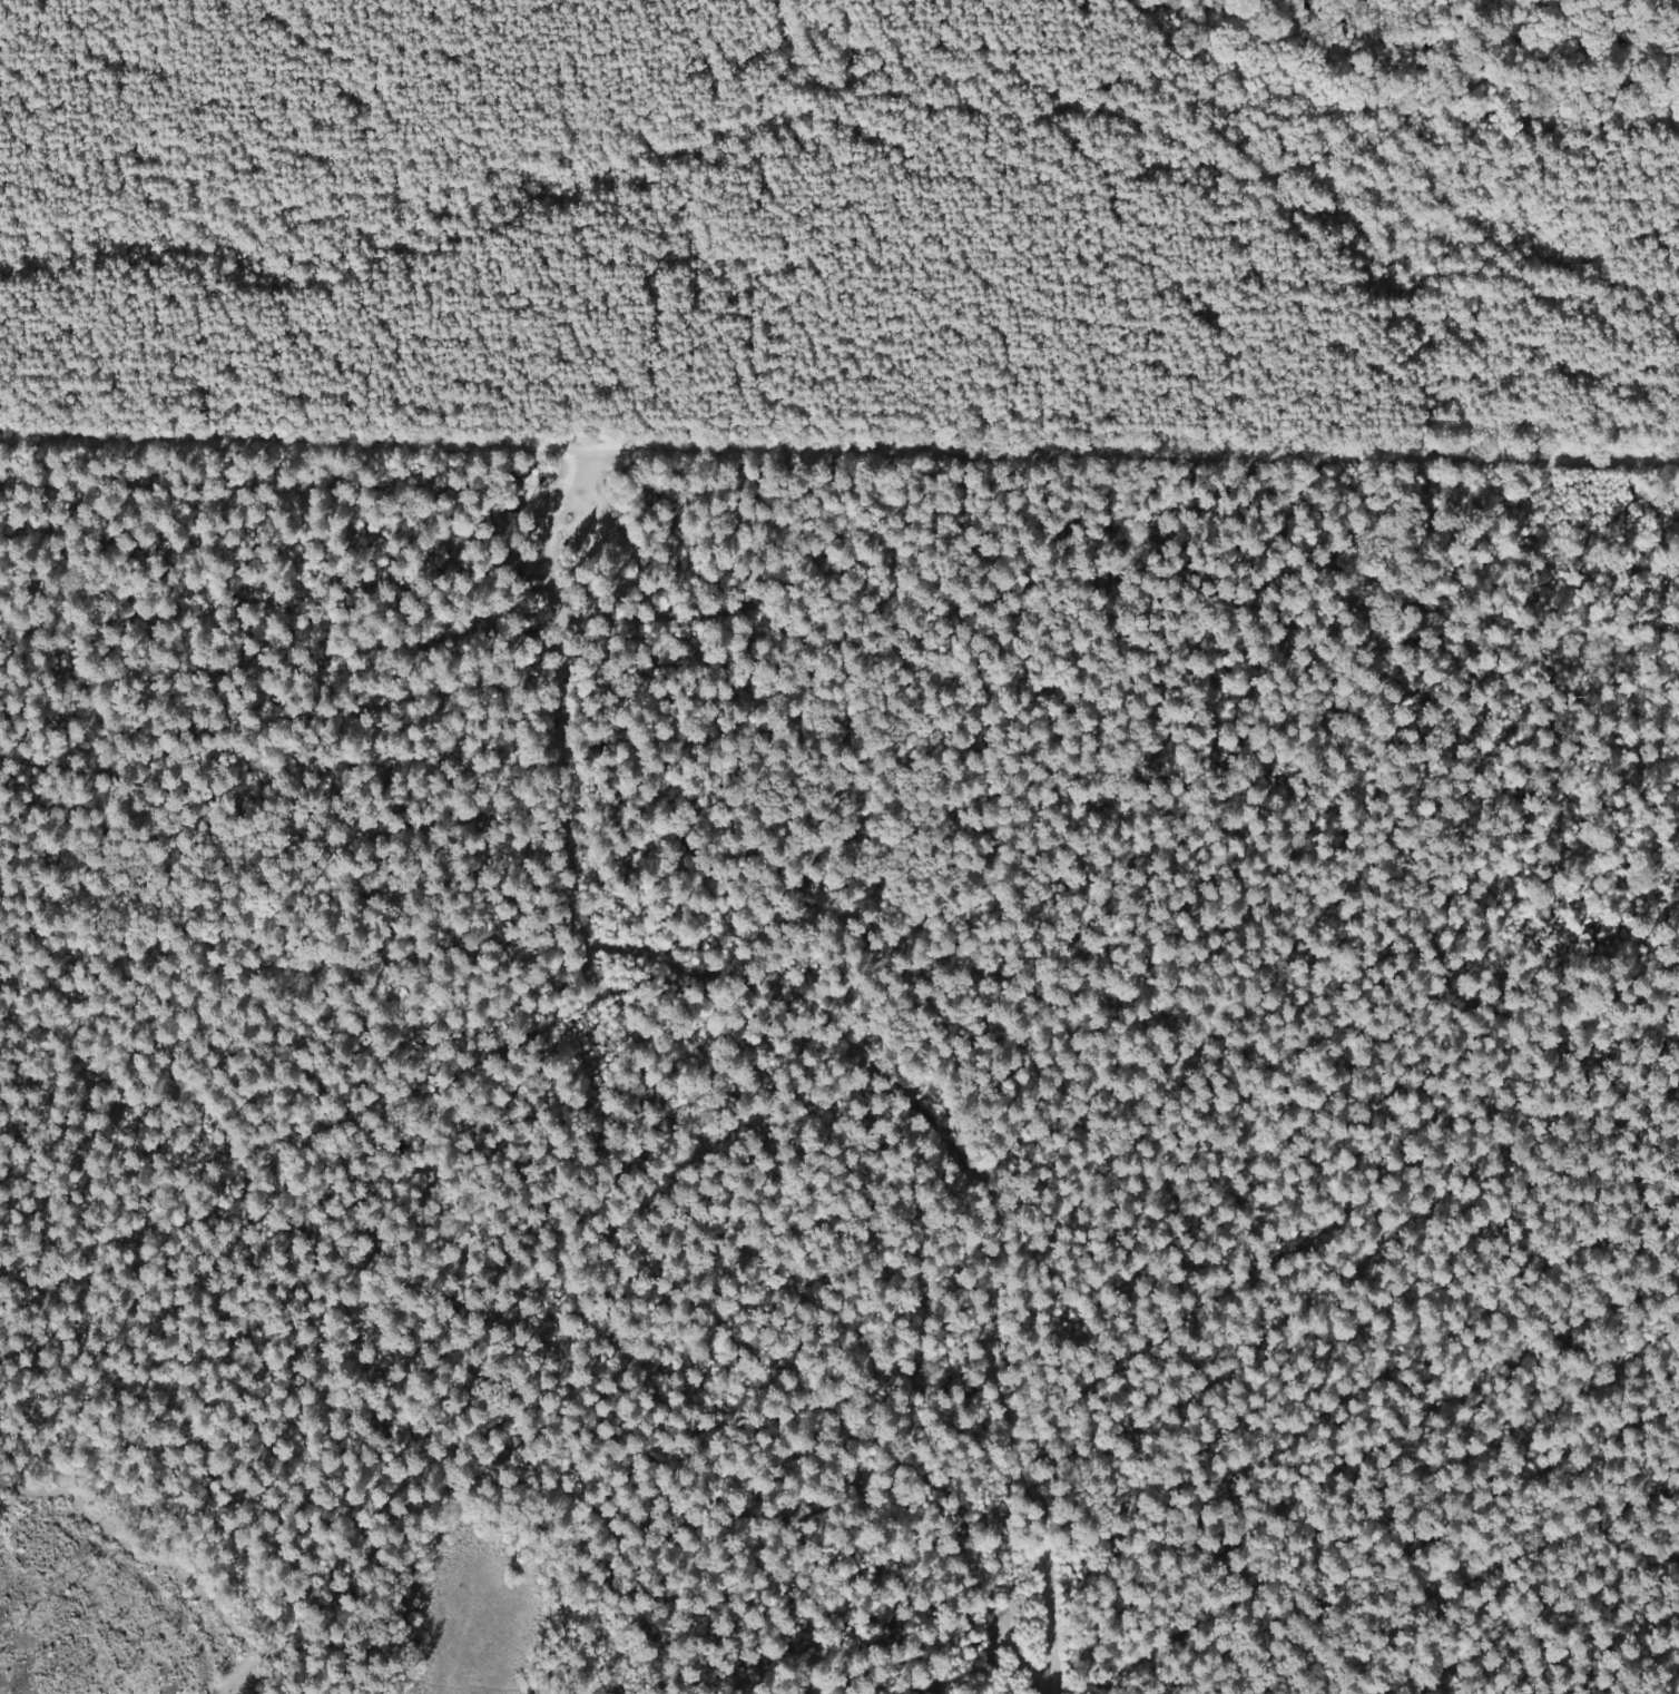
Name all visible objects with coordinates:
road: (839, 443)

